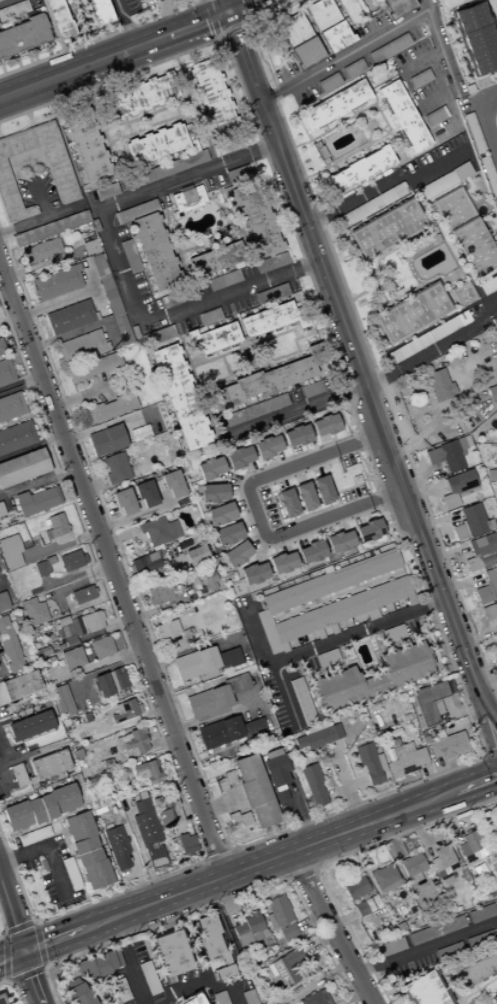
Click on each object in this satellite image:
road: (1, 0)
building: (142, 0)
road: (225, 6)
road: (243, 6)
building: (395, 6)
road: (166, 7)
building: (14, 10)
building: (102, 12)
traffic signals: (228, 13)
building: (58, 18)
road: (215, 19)
road: (81, 21)
road: (123, 24)
building: (326, 24)
road: (197, 25)
building: (24, 36)
road: (99, 38)
building: (298, 40)
building: (475, 40)
road: (221, 42)
road: (441, 48)
road: (127, 51)
road: (33, 55)
road: (28, 56)
road: (344, 57)
road: (17, 61)
road: (421, 63)
road: (1, 68)
road: (44, 82)
road: (435, 96)
building: (138, 97)
building: (211, 99)
building: (332, 106)
road: (194, 111)
road: (146, 115)
building: (402, 117)
road: (29, 118)
road: (484, 120)
road: (150, 126)
road: (103, 132)
building: (473, 134)
building: (84, 144)
building: (154, 145)
building: (227, 146)
building: (164, 170)
building: (357, 172)
building: (236, 174)
building: (488, 175)
building: (61, 178)
road: (384, 186)
building: (101, 194)
road: (38, 195)
building: (187, 199)
building: (372, 204)
building: (496, 208)
building: (134, 212)
road: (41, 219)
building: (255, 220)
building: (49, 228)
building: (386, 229)
building: (465, 230)
road: (227, 234)
road: (3, 241)
road: (175, 246)
building: (89, 247)
building: (153, 250)
building: (40, 251)
building: (129, 257)
building: (213, 260)
road: (42, 263)
building: (270, 263)
road: (118, 267)
building: (223, 281)
building: (57, 282)
building: (488, 285)
road: (93, 286)
building: (106, 288)
building: (270, 294)
building: (461, 294)
road: (56, 302)
building: (410, 313)
building: (208, 316)
building: (70, 317)
building: (273, 319)
road: (9, 320)
road: (80, 329)
building: (123, 332)
building: (427, 337)
building: (210, 338)
building: (81, 346)
road: (245, 346)
building: (2, 347)
road: (435, 350)
road: (270, 361)
road: (188, 364)
road: (225, 366)
building: (94, 367)
road: (359, 369)
building: (5, 372)
building: (266, 379)
road: (19, 381)
building: (438, 385)
building: (310, 389)
building: (491, 393)
building: (178, 396)
road: (76, 397)
building: (11, 405)
building: (109, 408)
building: (254, 409)
road: (285, 410)
building: (324, 424)
road: (89, 429)
building: (139, 433)
building: (295, 435)
building: (16, 436)
road: (333, 436)
building: (106, 440)
road: (330, 442)
road: (358, 442)
road: (30, 446)
building: (266, 446)
road: (304, 447)
road: (81, 448)
road: (295, 453)
building: (447, 454)
building: (237, 456)
road: (268, 460)
road: (279, 460)
building: (22, 466)
building: (208, 467)
road: (314, 467)
building: (115, 468)
building: (496, 468)
road: (250, 470)
road: (297, 473)
road: (232, 479)
road: (328, 479)
building: (355, 479)
road: (37, 480)
road: (279, 480)
road: (222, 481)
road: (93, 482)
building: (171, 484)
building: (456, 488)
building: (321, 489)
road: (236, 490)
road: (268, 490)
building: (212, 492)
building: (144, 493)
road: (384, 494)
road: (228, 495)
building: (303, 496)
building: (36, 500)
road: (7, 502)
building: (122, 502)
building: (286, 502)
road: (240, 504)
road: (328, 504)
road: (388, 510)
building: (1, 511)
road: (311, 511)
building: (219, 513)
road: (246, 515)
road: (355, 516)
road: (367, 516)
road: (236, 517)
road: (257, 517)
road: (293, 517)
road: (247, 522)
building: (470, 523)
building: (52, 528)
road: (331, 529)
building: (158, 530)
building: (368, 530)
building: (226, 534)
road: (119, 536)
road: (243, 536)
road: (298, 537)
road: (310, 537)
road: (255, 539)
building: (338, 541)
road: (282, 543)
road: (60, 547)
road: (260, 549)
road: (274, 550)
building: (9, 551)
building: (310, 551)
building: (481, 552)
building: (194, 554)
building: (235, 554)
building: (83, 558)
building: (48, 560)
building: (69, 560)
road: (251, 562)
building: (281, 562)
building: (144, 563)
building: (40, 568)
building: (68, 571)
road: (112, 571)
building: (252, 573)
road: (385, 574)
road: (74, 576)
road: (1, 580)
building: (209, 582)
road: (73, 585)
road: (355, 586)
building: (487, 587)
road: (6, 589)
building: (32, 590)
road: (346, 591)
building: (159, 593)
road: (335, 593)
building: (82, 594)
road: (316, 600)
building: (364, 600)
building: (3, 601)
road: (59, 601)
building: (198, 606)
road: (157, 609)
building: (185, 610)
building: (33, 611)
road: (285, 612)
building: (489, 613)
building: (62, 621)
building: (91, 621)
building: (165, 628)
building: (186, 632)
road: (254, 633)
building: (392, 633)
road: (83, 637)
road: (405, 637)
road: (324, 643)
road: (161, 645)
building: (495, 645)
building: (9, 647)
building: (101, 647)
road: (192, 651)
building: (72, 658)
building: (227, 658)
building: (327, 658)
road: (435, 659)
building: (195, 663)
building: (46, 665)
road: (92, 665)
road: (95, 672)
building: (118, 677)
building: (371, 678)
road: (188, 681)
road: (196, 682)
building: (236, 683)
building: (20, 685)
building: (101, 685)
road: (198, 685)
road: (381, 696)
building: (2, 698)
building: (61, 699)
building: (208, 701)
building: (302, 701)
building: (428, 703)
building: (137, 708)
road: (461, 710)
road: (3, 711)
building: (123, 711)
road: (212, 718)
building: (28, 726)
road: (120, 726)
building: (252, 728)
building: (140, 730)
building: (218, 732)
road: (157, 733)
building: (25, 737)
building: (317, 737)
road: (239, 740)
building: (134, 741)
building: (145, 746)
road: (223, 746)
building: (448, 746)
road: (212, 749)
road: (218, 750)
road: (3, 752)
road: (484, 755)
road: (12, 758)
building: (405, 760)
road: (491, 760)
building: (106, 763)
building: (370, 763)
building: (48, 764)
building: (148, 771)
building: (17, 774)
road: (443, 775)
building: (276, 776)
road: (3, 779)
road: (430, 780)
road: (495, 780)
building: (92, 781)
building: (225, 781)
road: (474, 782)
building: (313, 784)
road: (345, 787)
road: (346, 787)
building: (254, 791)
road: (271, 793)
building: (63, 798)
building: (93, 802)
road: (219, 804)
building: (46, 806)
building: (34, 811)
road: (300, 814)
building: (16, 816)
road: (61, 817)
building: (238, 819)
road: (446, 820)
building: (78, 827)
road: (30, 830)
road: (51, 833)
road: (418, 833)
building: (495, 837)
road: (387, 839)
building: (186, 843)
building: (83, 845)
building: (471, 845)
building: (116, 846)
road: (48, 847)
road: (141, 849)
road: (230, 849)
road: (358, 850)
road: (217, 856)
building: (86, 857)
building: (155, 857)
road: (334, 857)
road: (204, 859)
road: (268, 859)
road: (190, 860)
building: (441, 860)
road: (73, 862)
road: (135, 864)
road: (317, 867)
building: (412, 867)
road: (299, 870)
road: (236, 872)
building: (96, 874)
building: (383, 876)
road: (284, 878)
road: (211, 880)
building: (356, 894)
road: (226, 901)
building: (496, 901)
road: (213, 902)
building: (365, 906)
road: (79, 907)
building: (404, 909)
building: (481, 913)
road: (13, 914)
building: (281, 916)
road: (342, 919)
road: (34, 920)
road: (309, 920)
building: (450, 925)
road: (3, 926)
road: (19, 927)
road: (330, 928)
building: (249, 929)
road: (4, 932)
building: (208, 936)
building: (421, 936)
road: (53, 939)
building: (479, 940)
road: (39, 944)
road: (313, 944)
building: (390, 947)
road: (426, 947)
traffic signals: (23, 951)
building: (448, 951)
building: (169, 953)
road: (200, 954)
road: (11, 955)
road: (5, 956)
building: (116, 957)
building: (107, 961)
road: (45, 967)
building: (97, 967)
building: (255, 968)
building: (476, 968)
building: (86, 969)
building: (284, 969)
building: (270, 970)
building: (223, 972)
road: (238, 972)
road: (26, 973)
building: (249, 974)
road: (133, 975)
building: (148, 977)
road: (29, 978)
road: (316, 980)
road: (6, 981)
road: (14, 988)
building: (424, 989)
building: (120, 990)
building: (73, 991)
road: (232, 994)
building: (495, 995)
building: (101, 996)
building: (323, 996)
building: (219, 997)
building: (248, 997)
road: (352, 997)
building: (3, 998)
building: (82, 998)
building: (312, 998)
building: (192, 999)

